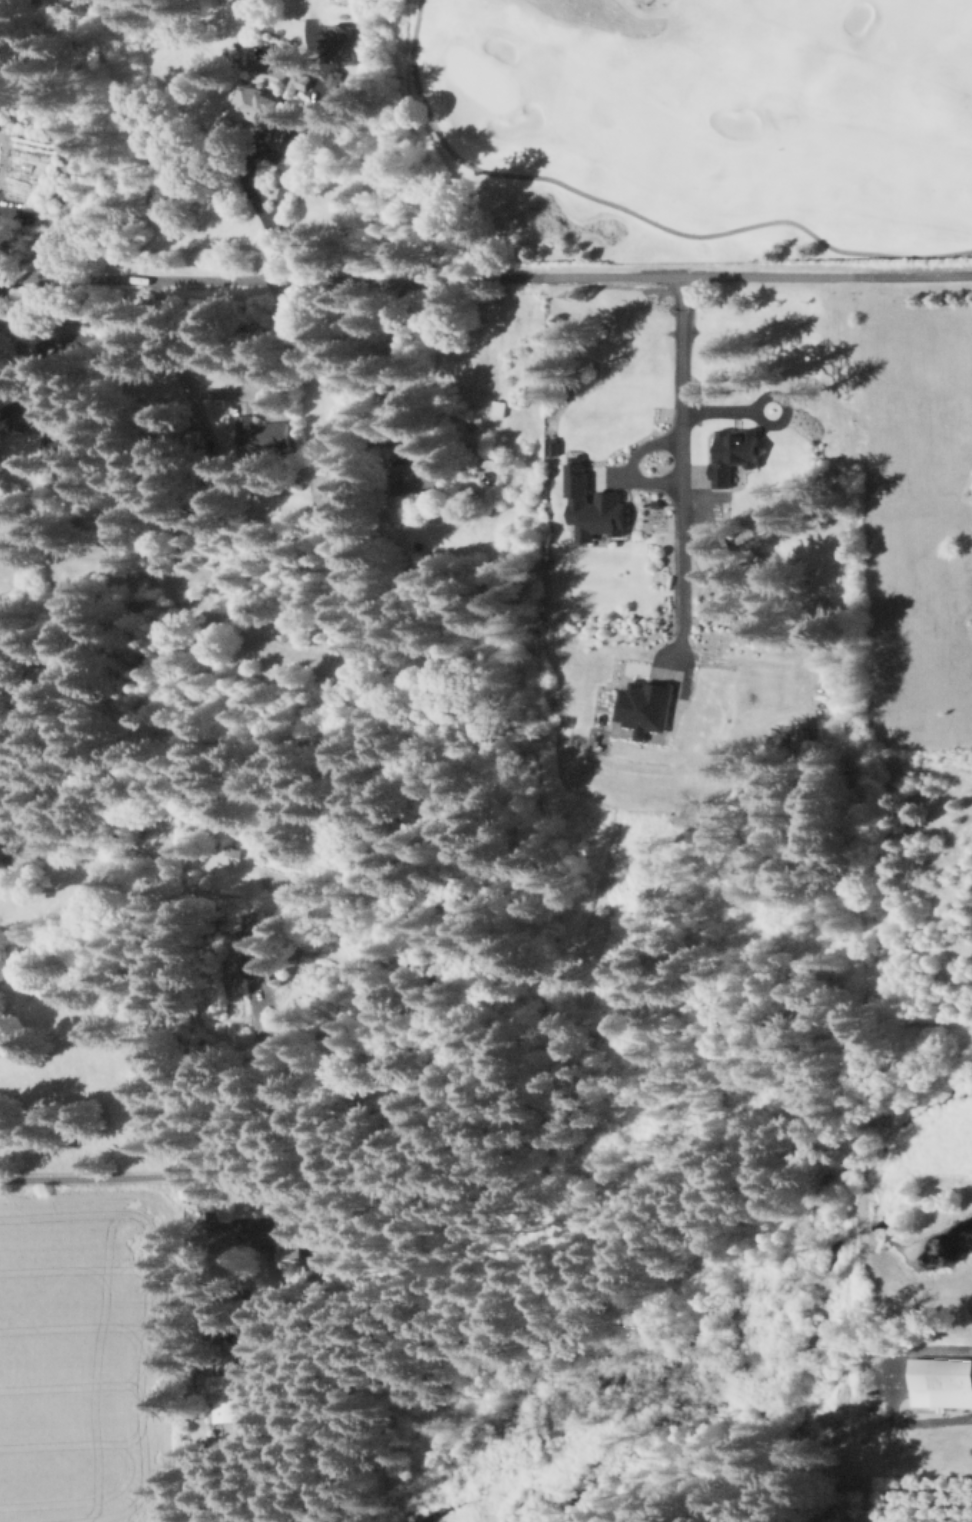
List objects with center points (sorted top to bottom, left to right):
building: (346, 44)
building: (338, 79)
building: (296, 83)
building: (258, 105)
park: (669, 130)
road: (280, 161)
building: (233, 197)
road: (630, 211)
road: (651, 276)
road: (165, 279)
building: (18, 342)
road: (776, 393)
road: (718, 407)
building: (500, 408)
building: (34, 413)
building: (78, 435)
building: (266, 435)
building: (734, 456)
building: (493, 464)
road: (630, 464)
road: (679, 467)
building: (80, 474)
building: (419, 476)
road: (614, 478)
building: (971, 488)
building: (223, 490)
building: (590, 506)
building: (51, 531)
building: (712, 552)
road: (743, 661)
building: (644, 707)
building: (234, 850)
building: (259, 958)
road: (234, 1103)
road: (144, 1179)
building: (290, 1241)
road: (909, 1351)
crop: (95, 1360)
building: (941, 1382)
building: (234, 1397)
road: (870, 1499)

